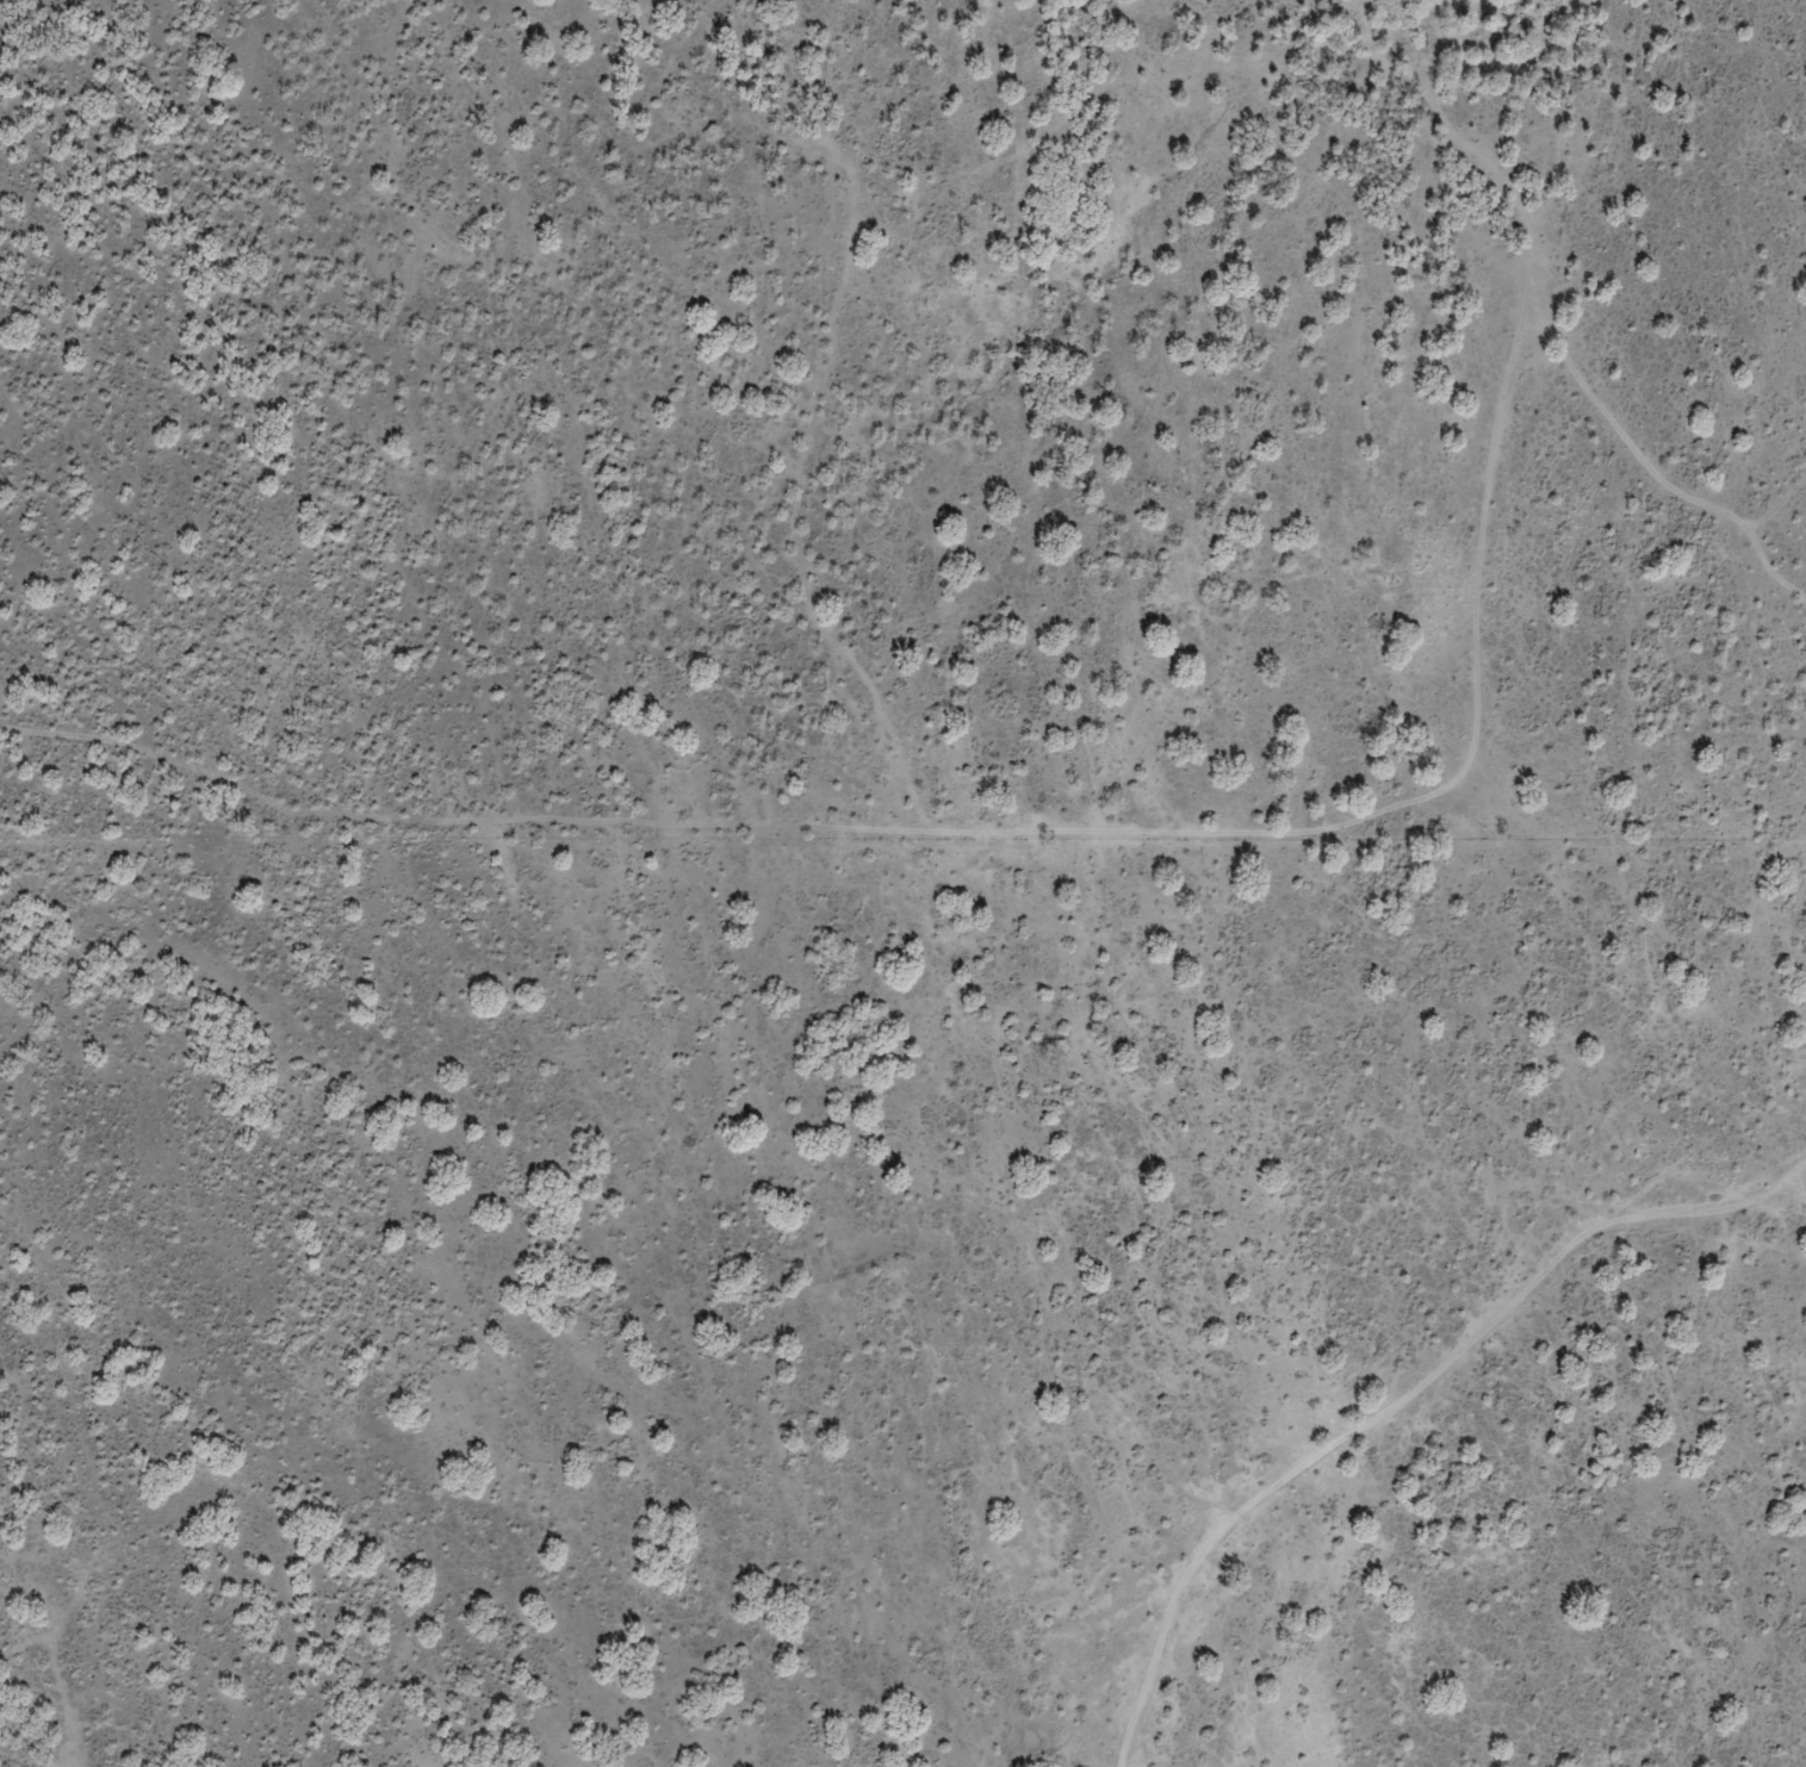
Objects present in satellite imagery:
road: (1415, 1416)

